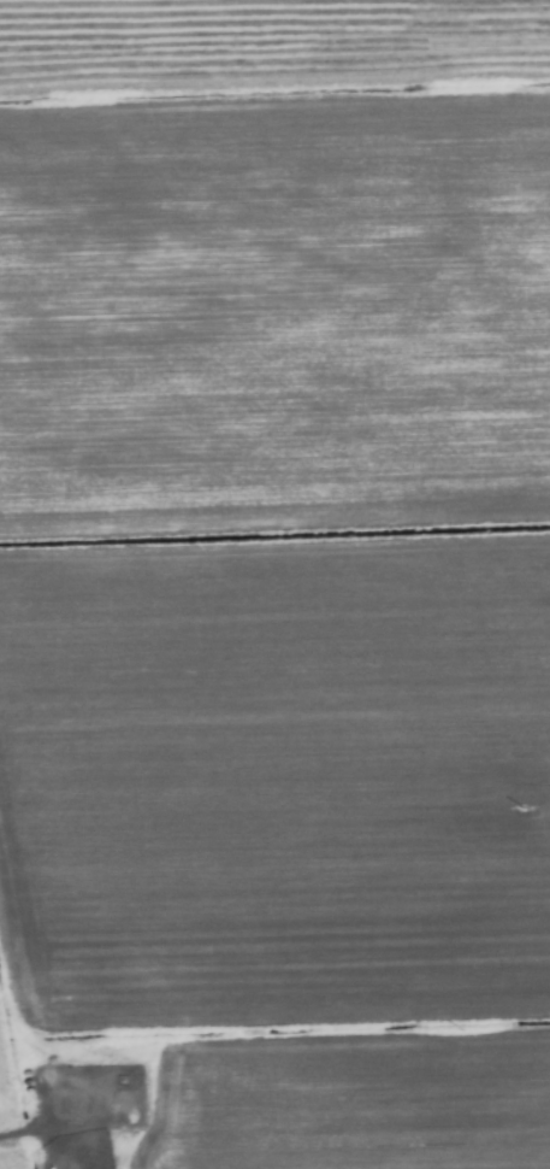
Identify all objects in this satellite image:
crop: (274, 584)

